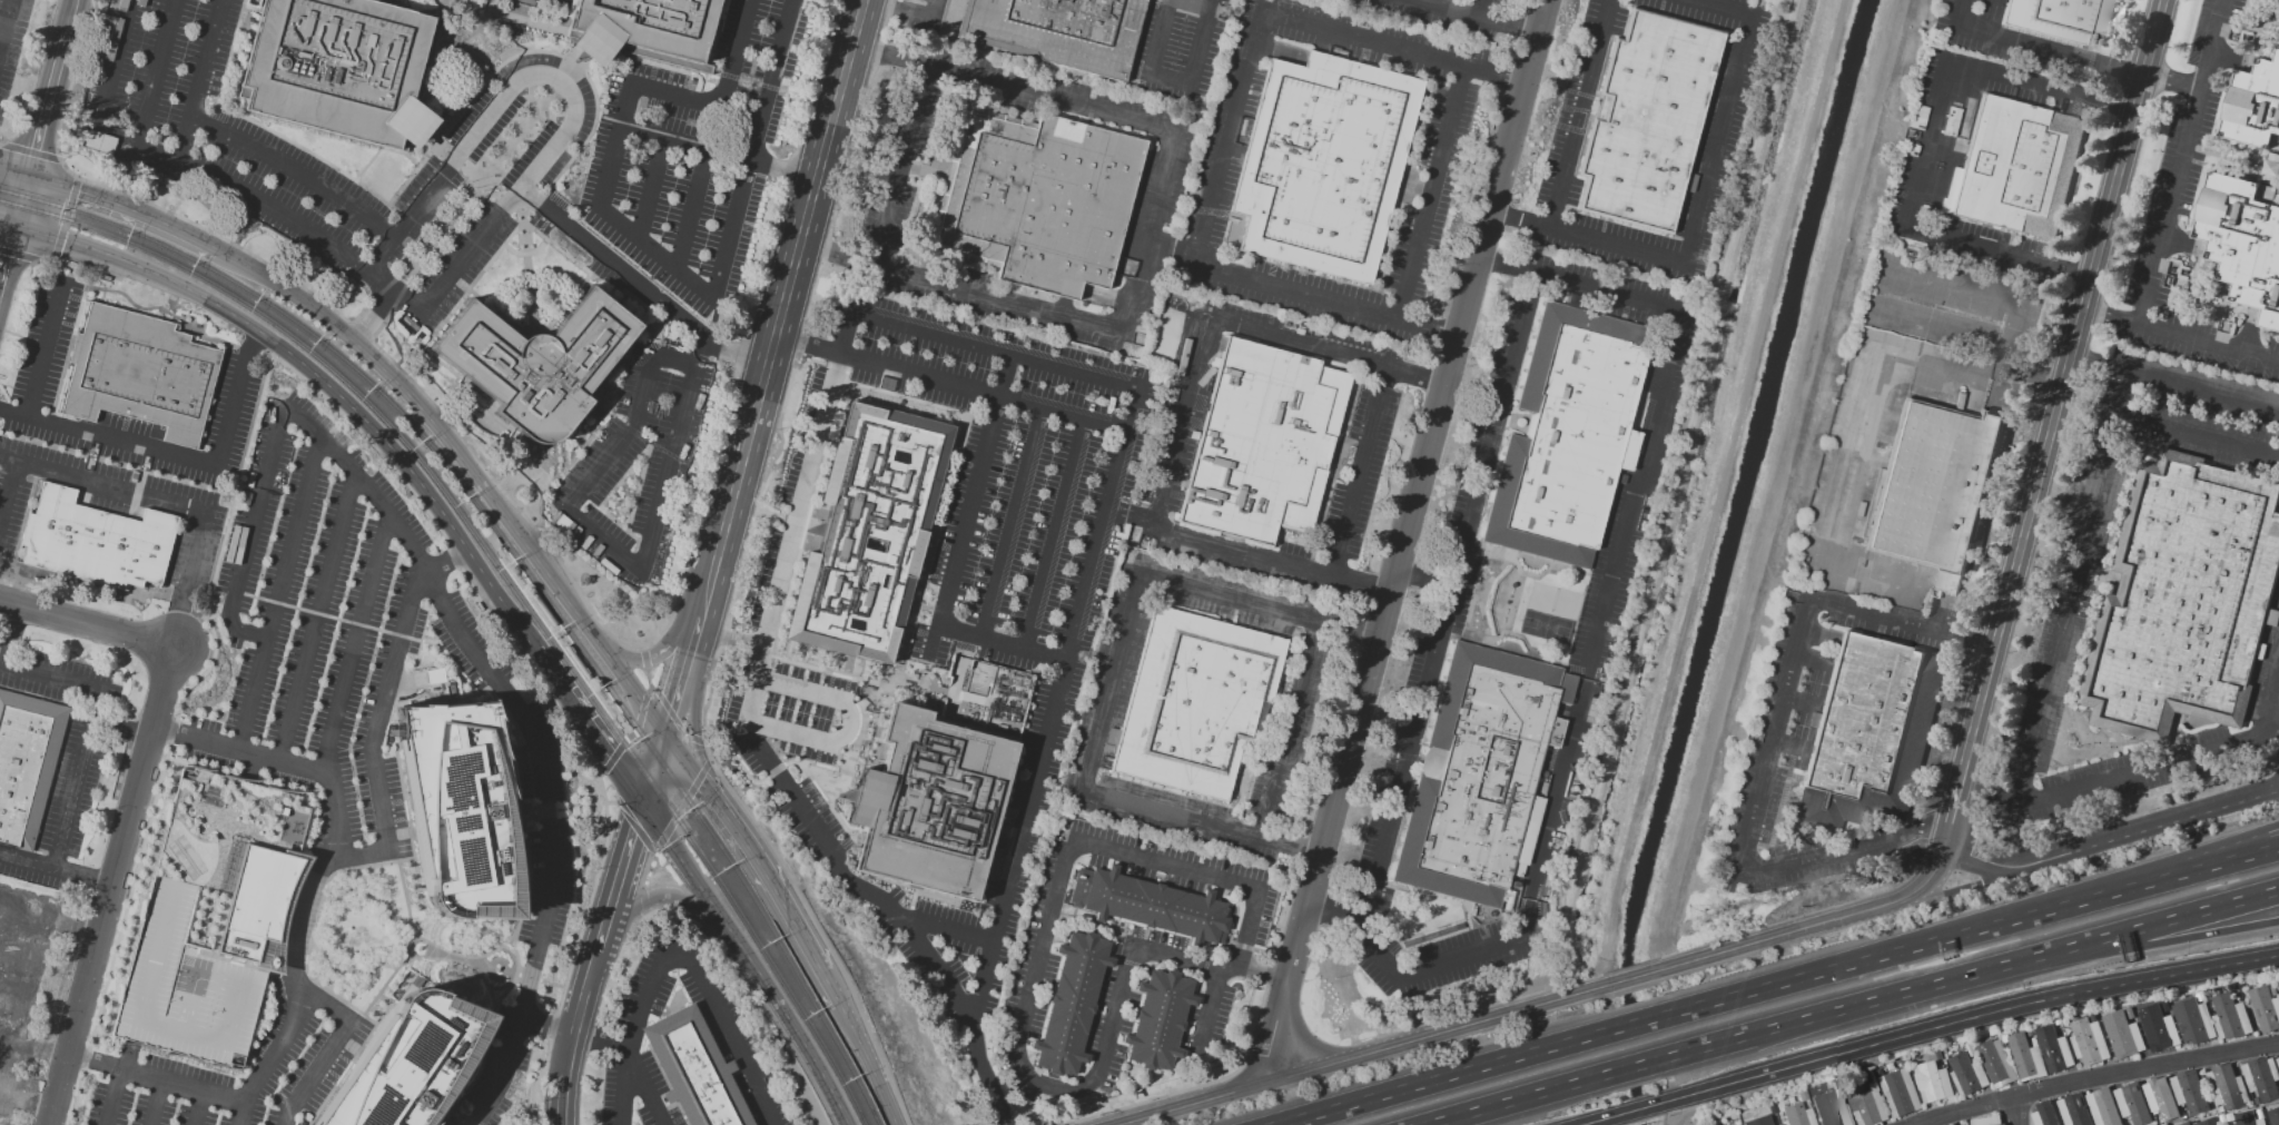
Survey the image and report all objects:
road: (1202, 2)
road: (1452, 11)
road: (936, 12)
road: (896, 14)
building: (2059, 17)
parking lot: (927, 22)
road: (6, 24)
building: (642, 30)
building: (1057, 31)
road: (1161, 37)
road: (1373, 41)
road: (2020, 41)
road: (1202, 42)
parking lot: (1177, 50)
road: (880, 53)
road: (112, 67)
building: (342, 69)
road: (156, 72)
road: (2123, 73)
road: (1502, 78)
road: (201, 79)
road: (561, 79)
road: (1171, 79)
road: (2176, 79)
road: (1044, 97)
road: (694, 100)
road: (2120, 110)
road: (1579, 114)
building: (1647, 119)
building: (1953, 122)
road: (1229, 134)
road: (1926, 142)
road: (2, 144)
road: (683, 144)
road: (38, 147)
road: (30, 152)
road: (706, 154)
road: (2181, 161)
building: (1323, 164)
road: (610, 165)
road: (900, 165)
building: (2016, 168)
road: (295, 169)
road: (780, 171)
road: (16, 175)
traffic signals: (31, 179)
road: (1707, 189)
railway: (12, 194)
road: (1430, 196)
building: (2248, 196)
building: (1038, 200)
railway: (11, 204)
road: (644, 206)
road: (267, 207)
road: (126, 209)
road: (1509, 216)
road: (66, 218)
road: (8, 226)
traffic signals: (17, 229)
road: (1147, 236)
power tower: (1865, 243)
power tower: (1905, 255)
road: (19, 256)
road: (76, 261)
road: (836, 261)
road: (611, 263)
road: (1498, 263)
road: (2075, 275)
road: (716, 285)
road: (1265, 285)
road: (1597, 288)
road: (996, 299)
road: (778, 314)
road: (2104, 314)
road: (373, 316)
road: (2015, 325)
road: (2200, 339)
road: (253, 345)
road: (806, 345)
road: (45, 347)
road: (732, 352)
road: (1017, 355)
park: (2250, 359)
road: (678, 361)
road: (2100, 361)
road: (1887, 363)
building: (535, 364)
road: (2032, 366)
building: (140, 373)
road: (318, 382)
road: (2201, 388)
road: (984, 391)
road: (2065, 393)
road: (230, 409)
road: (3, 411)
building: (599, 413)
road: (442, 415)
building: (594, 420)
road: (1180, 422)
road: (432, 423)
railway: (421, 433)
road: (2199, 434)
building: (1568, 435)
road: (111, 437)
road: (623, 437)
building: (1263, 443)
road: (651, 445)
road: (522, 450)
railway: (416, 452)
road: (337, 457)
road: (1, 458)
road: (702, 467)
road: (1360, 474)
building: (1621, 478)
road: (1720, 478)
road: (1707, 480)
road: (107, 487)
building: (1935, 489)
road: (8, 496)
road: (632, 510)
road: (1131, 515)
road: (776, 516)
road: (798, 516)
road: (1010, 523)
road: (963, 526)
building: (869, 533)
road: (1055, 534)
road: (249, 535)
road: (602, 540)
building: (96, 542)
road: (1407, 542)
railway: (497, 560)
road: (444, 563)
road: (198, 564)
road: (2073, 583)
road: (737, 584)
road: (1425, 586)
road: (278, 594)
building: (2184, 599)
road: (1450, 603)
road: (649, 604)
building: (542, 609)
building: (2272, 618)
road: (318, 619)
road: (1891, 622)
road: (88, 623)
road: (401, 628)
road: (180, 630)
road: (8, 634)
road: (690, 639)
road: (1003, 644)
road: (727, 648)
road: (1985, 648)
building: (2260, 651)
road: (650, 658)
road: (644, 659)
building: (576, 663)
road: (649, 675)
road: (50, 678)
road: (1582, 680)
road: (1109, 687)
road: (631, 689)
road: (674, 691)
road: (2270, 700)
building: (1195, 702)
road: (1055, 705)
road: (335, 710)
road: (641, 716)
road: (693, 716)
road: (673, 718)
road: (2272, 722)
road: (850, 723)
road: (623, 726)
road: (586, 727)
road: (122, 729)
road: (1774, 732)
road: (169, 733)
traffic signals: (662, 733)
road: (1291, 733)
building: (1871, 737)
road: (680, 757)
road: (613, 758)
building: (27, 767)
road: (652, 769)
road: (2129, 773)
building: (1479, 777)
road: (77, 779)
building: (940, 782)
road: (1979, 790)
road: (542, 806)
traffic signals: (642, 806)
building: (456, 807)
road: (570, 807)
road: (681, 807)
road: (335, 816)
road: (634, 827)
road: (383, 833)
road: (738, 836)
road: (1947, 838)
road: (2112, 839)
road: (2208, 855)
road: (32, 862)
road: (624, 862)
road: (1789, 865)
road: (644, 870)
road: (90, 878)
road: (848, 881)
road: (693, 882)
road: (114, 886)
road: (670, 897)
road: (644, 901)
power tower: (1735, 904)
building: (1148, 905)
road: (28, 912)
building: (211, 917)
power tower: (1687, 917)
building: (0, 918)
road: (2169, 921)
road: (78, 928)
road: (948, 931)
road: (1969, 931)
road: (799, 932)
road: (1793, 932)
park: (359, 934)
road: (602, 937)
road: (298, 941)
road: (2170, 943)
road: (1038, 957)
road: (1379, 960)
road: (681, 961)
railway: (791, 965)
road: (837, 965)
road: (1595, 971)
building: (19, 975)
railway: (782, 977)
road: (1629, 979)
road: (831, 989)
building: (2275, 990)
building: (1071, 1003)
road: (1861, 1007)
road: (329, 1008)
building: (2266, 1008)
road: (580, 1011)
road: (1207, 1011)
building: (2131, 1013)
building: (2093, 1016)
building: (2230, 1017)
road: (1969, 1019)
building: (2194, 1020)
building: (1158, 1022)
building: (2058, 1022)
road: (545, 1024)
road: (1631, 1027)
building: (2159, 1027)
building: (2030, 1032)
building: (2123, 1035)
road: (599, 1040)
road: (797, 1040)
building: (2090, 1040)
road: (13, 1047)
building: (2054, 1048)
building: (1971, 1049)
road: (1249, 1050)
building: (1940, 1055)
road: (1363, 1056)
road: (75, 1057)
building: (2026, 1057)
building: (2278, 1059)
building: (1902, 1060)
building: (1996, 1062)
building: (403, 1063)
road: (868, 1064)
building: (694, 1070)
road: (1634, 1070)
building: (1880, 1072)
building: (1967, 1074)
road: (985, 1075)
building: (2263, 1077)
road: (2094, 1078)
road: (1447, 1079)
building: (1933, 1082)
building: (2227, 1086)
road: (642, 1087)
road: (193, 1089)
building: (2190, 1091)
building: (1900, 1093)
road: (7, 1097)
road: (114, 1097)
road: (561, 1097)
building: (2160, 1097)
road: (1523, 1102)
road: (156, 1103)
road: (485, 1103)
building: (2133, 1103)
building: (1866, 1104)
road: (34, 1105)
building: (2103, 1107)
road: (198, 1108)
building: (1832, 1109)
road: (2019, 1109)
building: (2074, 1109)
building: (2221, 1109)
road: (1636, 1112)
building: (2044, 1114)
building: (1798, 1115)
building: (1782, 1116)
building: (2275, 1116)
building: (2222, 1118)
building: (1765, 1119)
building: (2248, 1119)
building: (1987, 1121)
road: (1599, 1122)
building: (2210, 1122)
building: (3, 1123)
building: (2194, 1123)
road: (1598, 1124)
building: (2187, 1124)

